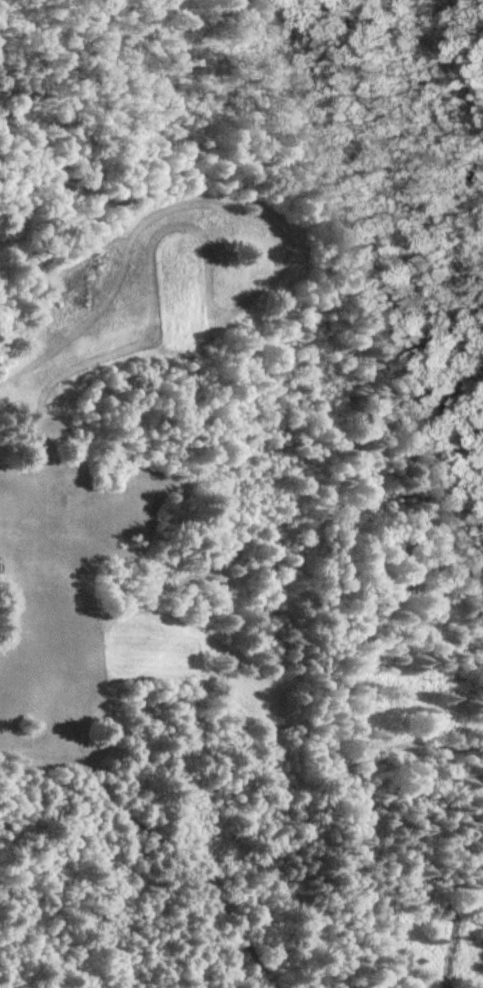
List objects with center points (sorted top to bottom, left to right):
road: (252, 922)

